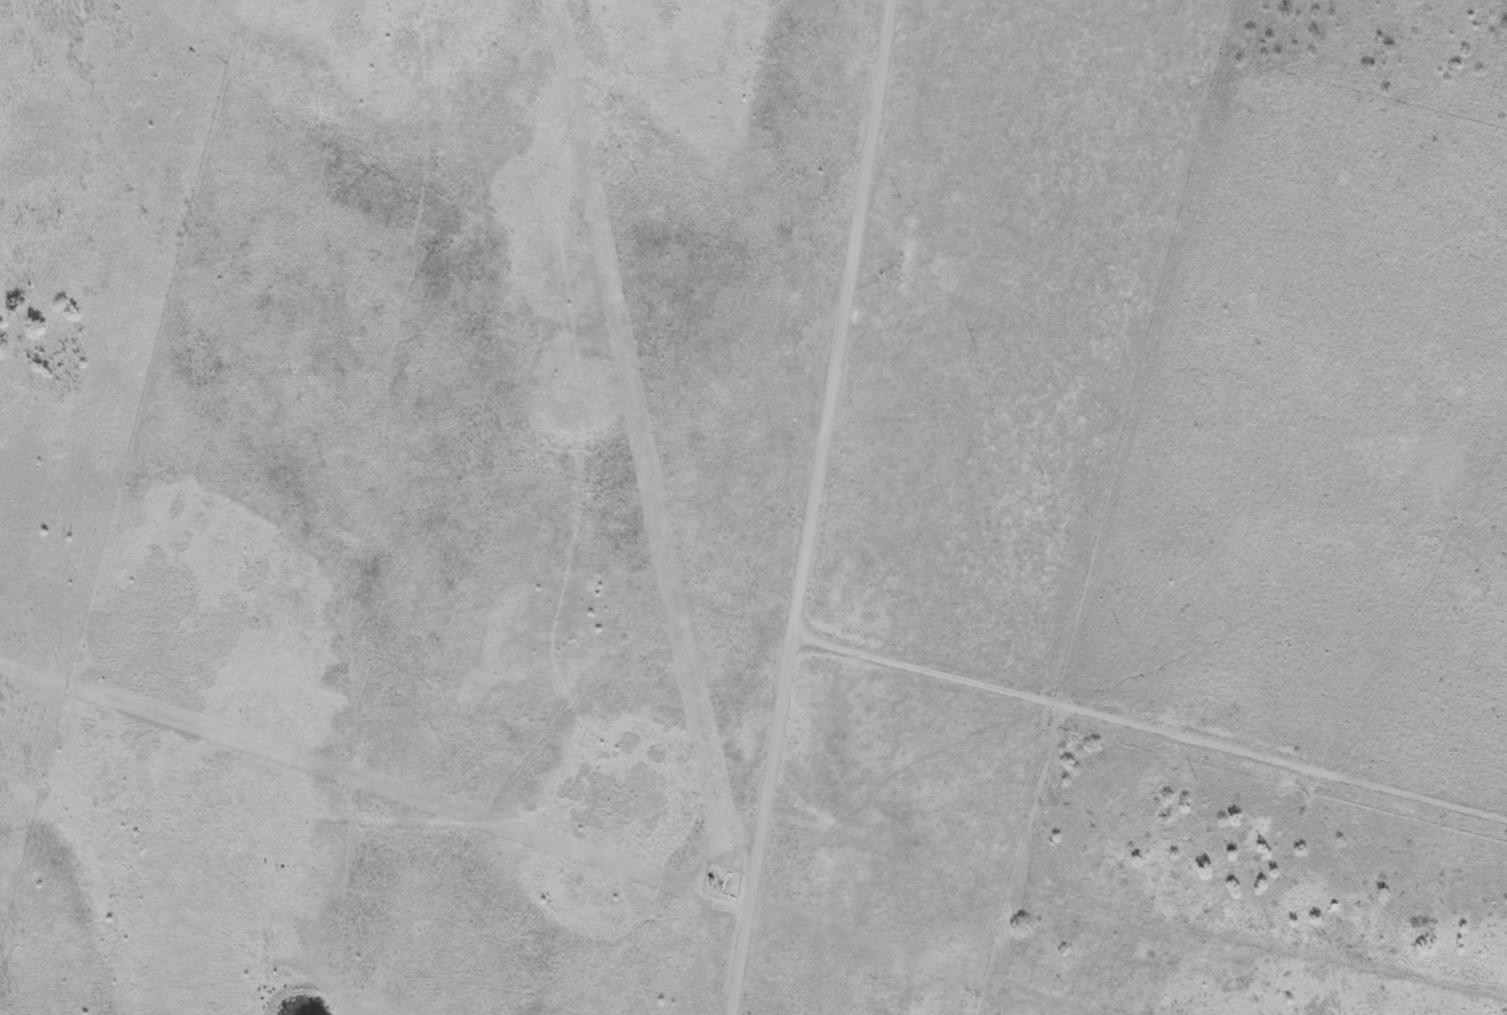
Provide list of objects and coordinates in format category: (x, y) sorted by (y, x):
road: (813, 507)

